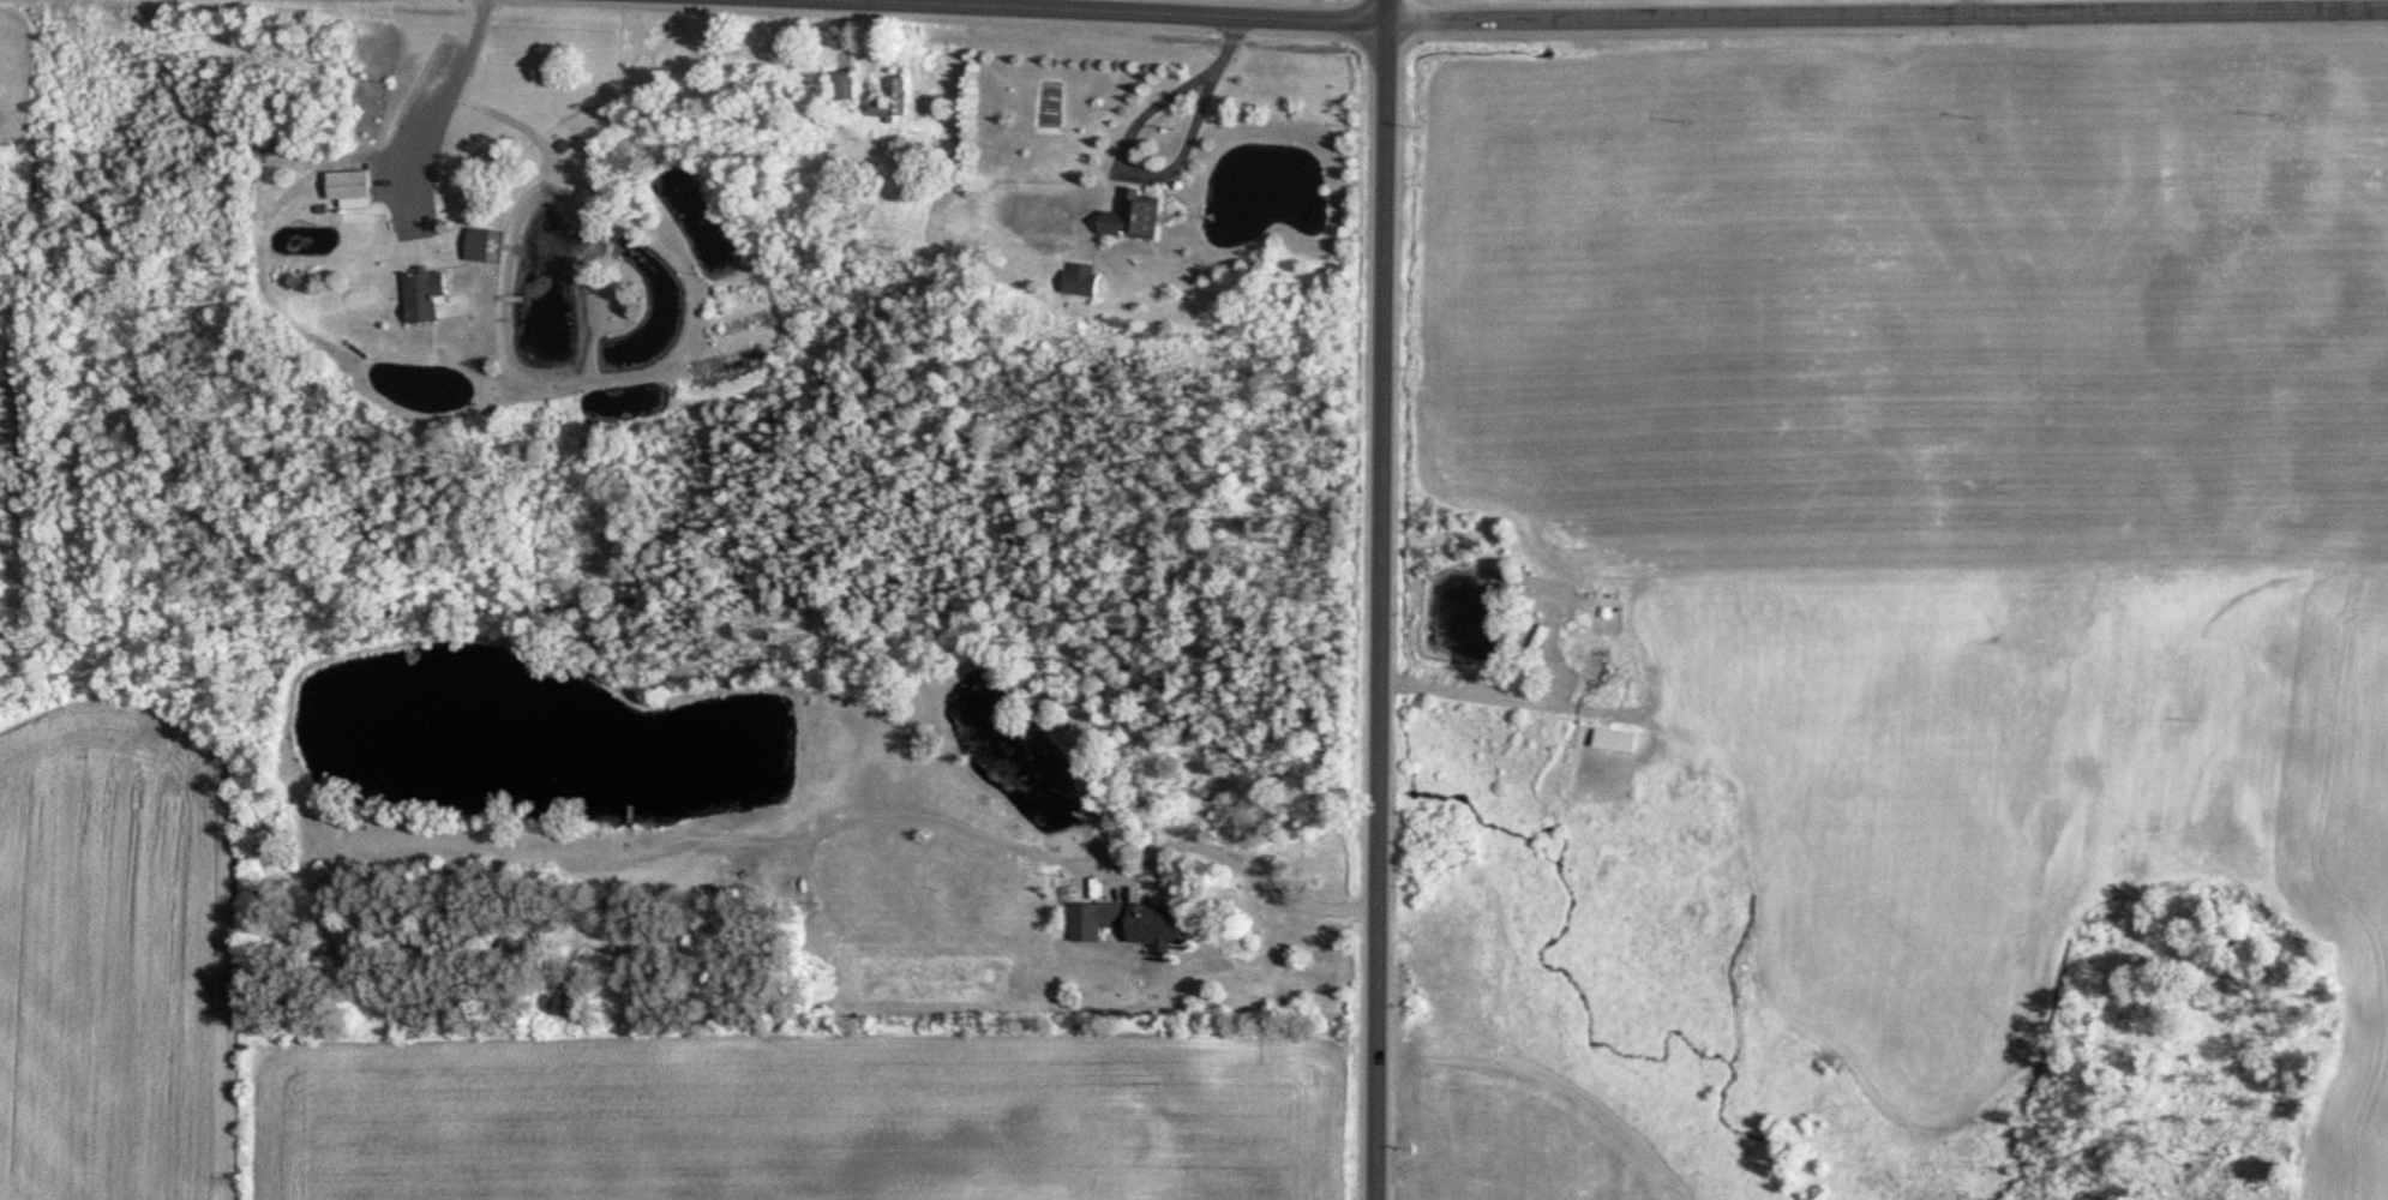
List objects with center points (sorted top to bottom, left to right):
road: (1586, 18)
building: (850, 85)
building: (900, 98)
building: (356, 188)
building: (1141, 217)
building: (485, 246)
building: (1087, 281)
building: (432, 298)
road: (1382, 599)
building: (1604, 668)
building: (1658, 677)
building: (1622, 742)
building: (1099, 920)
building: (1168, 926)

